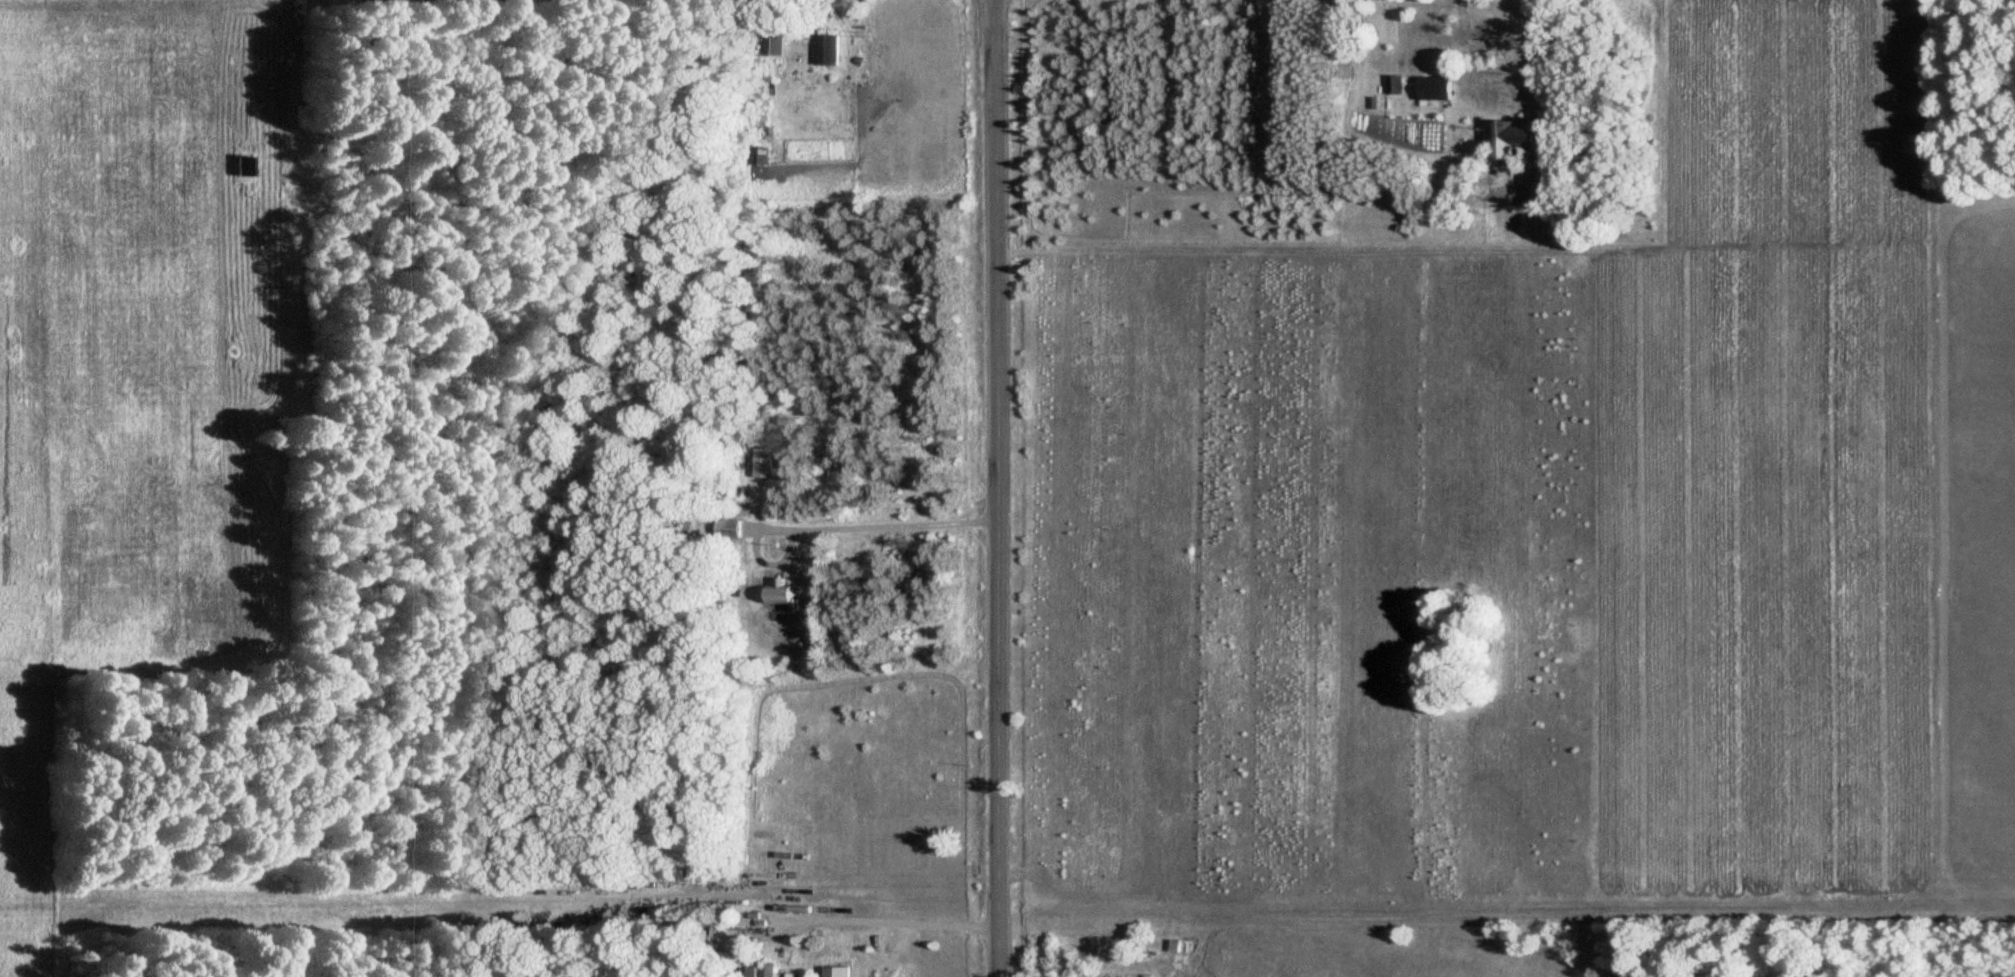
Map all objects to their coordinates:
building: (769, 44)
building: (824, 50)
building: (1392, 84)
building: (1509, 137)
building: (241, 166)
building: (759, 463)
road: (998, 488)
building: (724, 528)
building: (775, 595)
building: (721, 939)
building: (769, 971)
building: (1144, 976)

